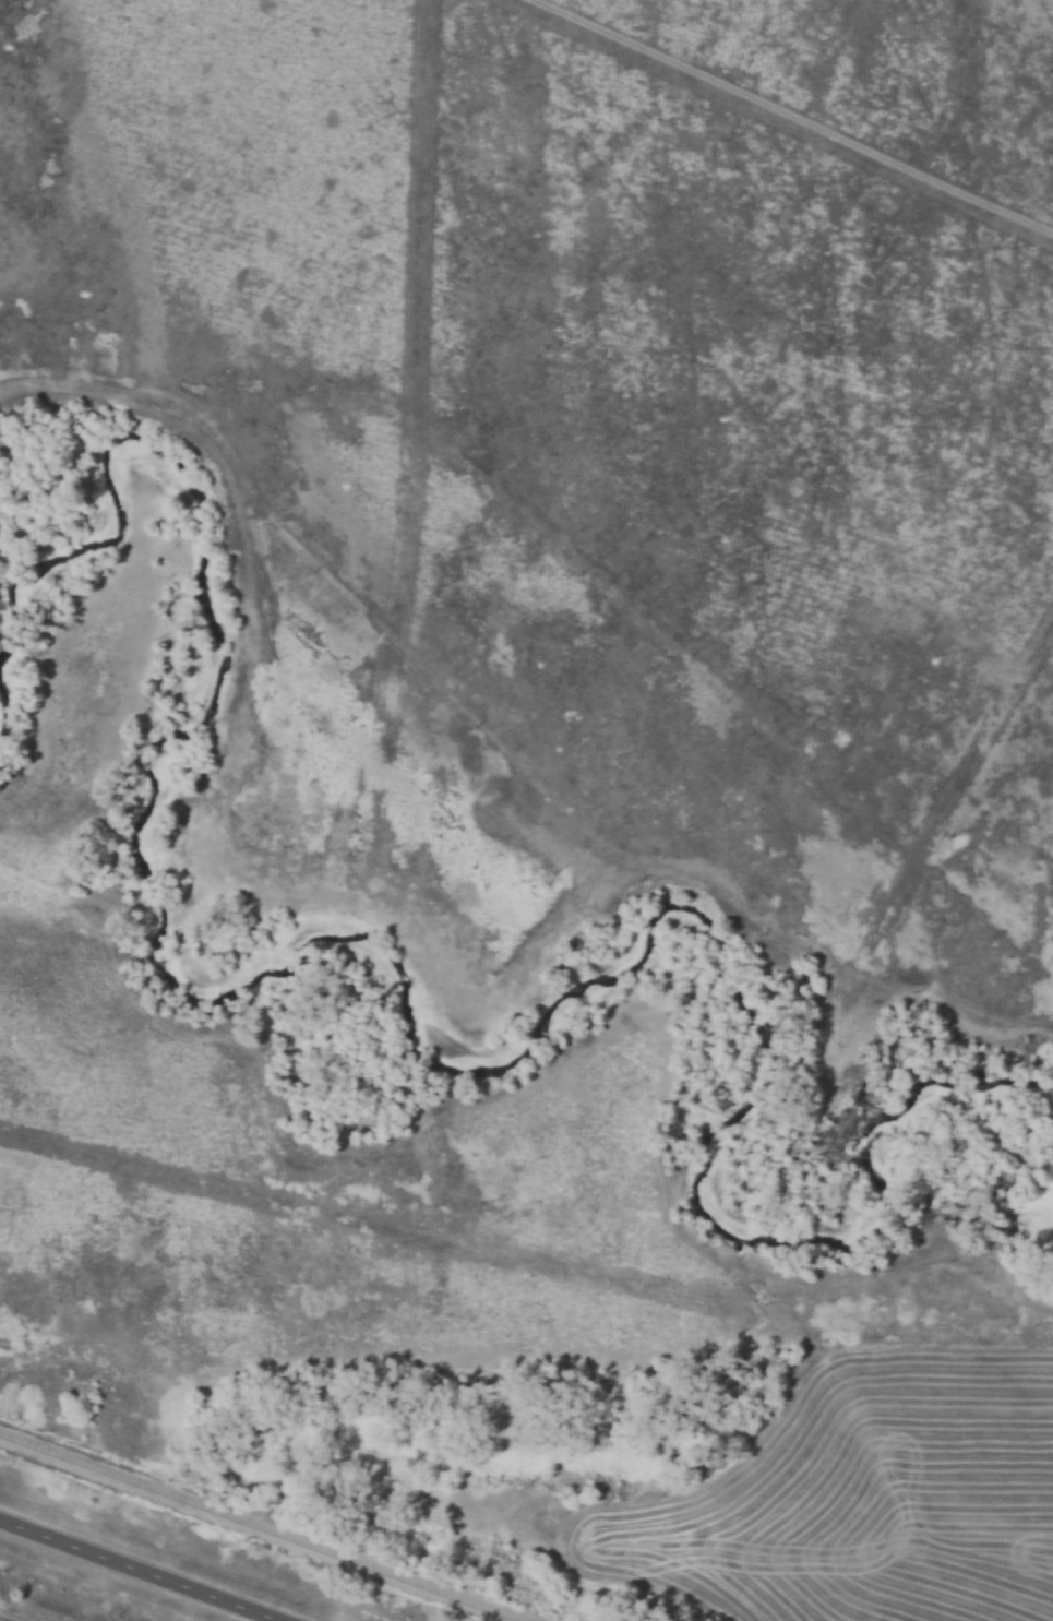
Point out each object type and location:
railway: (260, 1527)
road: (139, 1571)
crop: (17, 1614)

